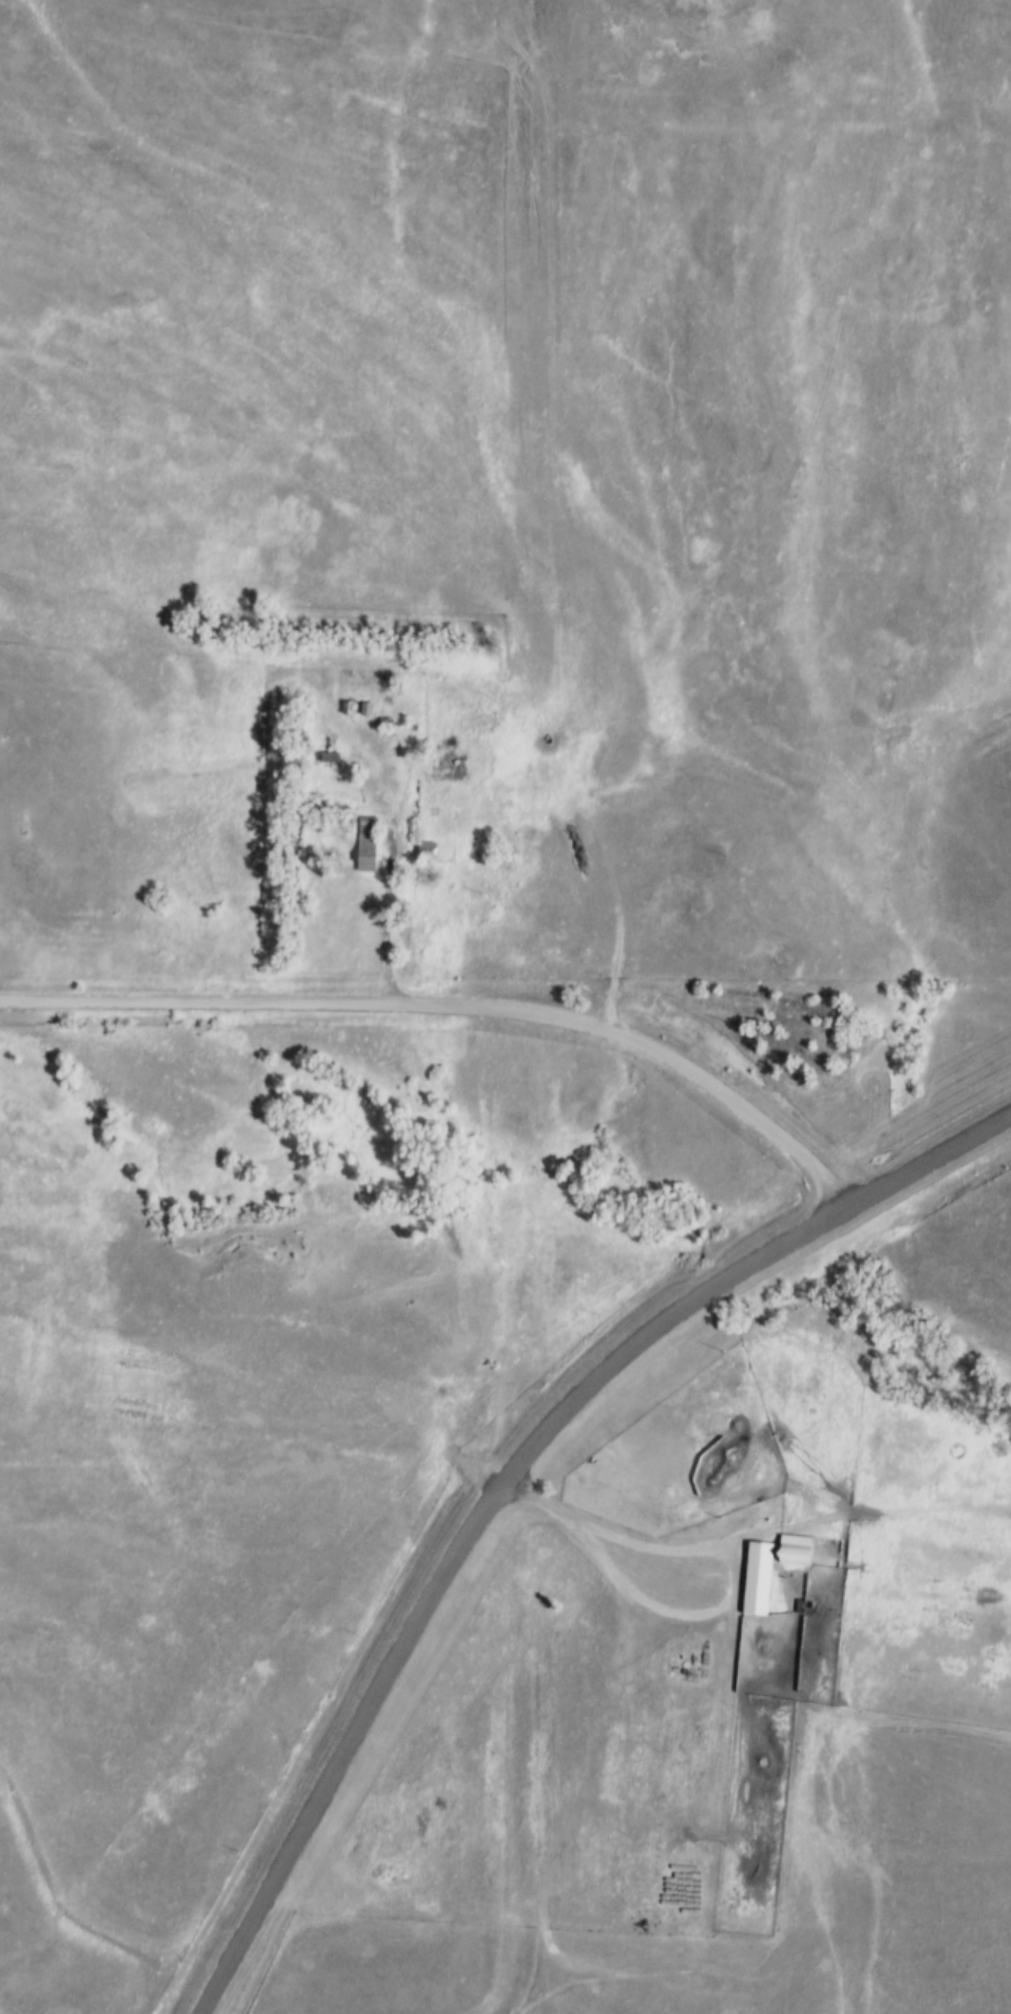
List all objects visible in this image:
building: (384, 723)
building: (328, 757)
building: (365, 842)
building: (425, 850)
road: (384, 910)
road: (457, 1007)
road: (502, 1470)
road: (626, 1539)
building: (793, 1550)
building: (759, 1554)

